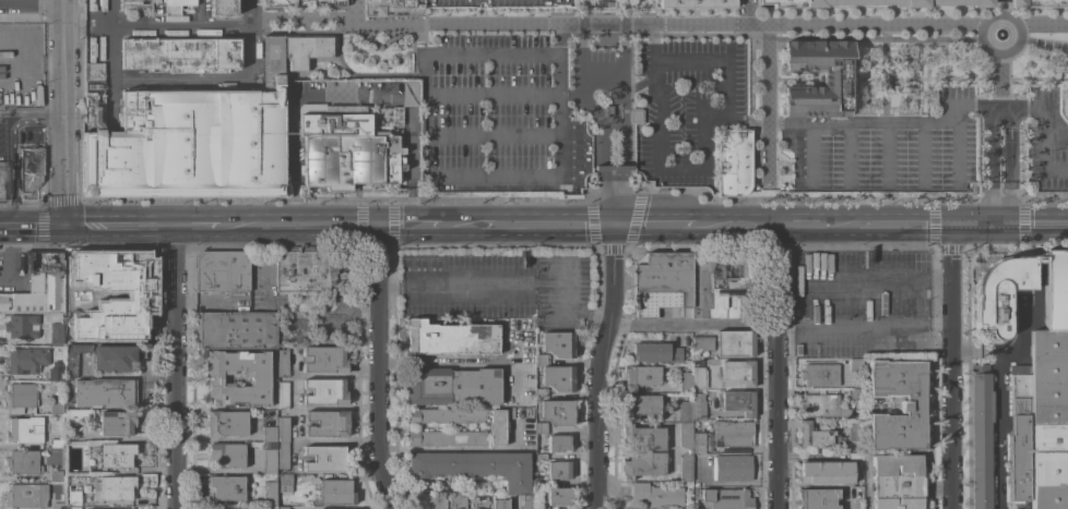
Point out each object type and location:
building: (695, 2)
building: (875, 2)
building: (1036, 2)
building: (304, 3)
building: (1001, 3)
road: (31, 4)
building: (144, 4)
building: (176, 5)
building: (223, 8)
building: (393, 8)
road: (1000, 8)
road: (357, 11)
road: (201, 13)
road: (746, 13)
road: (1043, 23)
road: (617, 24)
road: (182, 27)
road: (655, 32)
fountain: (1000, 35)
road: (252, 38)
road: (1045, 43)
road: (628, 44)
road: (1017, 48)
road: (585, 49)
building: (307, 51)
building: (134, 52)
building: (193, 53)
building: (273, 53)
road: (61, 54)
road: (511, 54)
parking lot: (602, 56)
road: (21, 61)
road: (112, 61)
road: (182, 77)
building: (835, 77)
building: (273, 81)
road: (1001, 81)
road: (641, 83)
building: (94, 92)
building: (410, 92)
road: (494, 94)
road: (563, 95)
road: (348, 96)
road: (577, 97)
parking lot: (690, 106)
road: (764, 106)
road: (999, 106)
building: (609, 109)
road: (31, 110)
building: (134, 110)
parking lot: (499, 114)
building: (637, 114)
road: (560, 116)
road: (769, 121)
road: (889, 122)
road: (1045, 122)
road: (811, 131)
building: (999, 131)
road: (427, 135)
road: (494, 136)
building: (1021, 136)
parking lot: (1045, 140)
building: (250, 142)
building: (182, 143)
building: (348, 145)
road: (956, 148)
road: (887, 149)
parking lot: (889, 149)
road: (923, 149)
road: (990, 155)
road: (1010, 155)
road: (622, 156)
road: (602, 160)
road: (707, 160)
building: (734, 161)
building: (115, 162)
road: (1045, 162)
building: (614, 167)
building: (31, 168)
road: (61, 168)
road: (494, 177)
building: (286, 178)
road: (413, 178)
building: (4, 180)
road: (357, 194)
road: (410, 210)
road: (292, 211)
road: (1000, 213)
road: (118, 225)
road: (201, 225)
road: (548, 225)
traffic signals: (613, 225)
road: (656, 225)
road: (737, 225)
road: (804, 225)
road: (891, 225)
road: (974, 225)
traffic signals: (1000, 225)
road: (1034, 225)
road: (31, 226)
traffic signals: (62, 226)
road: (301, 226)
traffic signals: (377, 226)
road: (408, 226)
road: (462, 226)
traffic signals: (949, 226)
road: (949, 251)
road: (614, 264)
building: (73, 267)
building: (223, 270)
building: (306, 274)
road: (874, 277)
road: (508, 281)
building: (662, 281)
building: (39, 284)
building: (700, 284)
building: (731, 286)
parking lot: (497, 287)
building: (1056, 289)
building: (1001, 291)
building: (142, 299)
fountain: (302, 300)
building: (108, 301)
parking lot: (859, 303)
building: (795, 312)
road: (692, 322)
road: (862, 324)
building: (23, 326)
building: (236, 329)
building: (57, 334)
building: (452, 338)
building: (702, 341)
building: (736, 342)
building: (559, 343)
road: (1010, 347)
building: (656, 351)
building: (74, 357)
building: (115, 357)
building: (26, 359)
building: (325, 359)
building: (543, 359)
building: (283, 362)
road: (459, 363)
building: (856, 364)
road: (174, 366)
road: (775, 366)
road: (378, 367)
building: (56, 371)
building: (739, 371)
building: (699, 373)
building: (820, 374)
building: (1047, 375)
building: (640, 376)
building: (260, 377)
building: (559, 377)
building: (686, 381)
building: (453, 385)
building: (325, 390)
building: (105, 391)
building: (542, 392)
road: (950, 392)
building: (856, 393)
building: (283, 395)
building: (21, 397)
building: (738, 401)
road: (595, 404)
building: (642, 404)
building: (822, 404)
building: (913, 405)
building: (57, 408)
building: (698, 409)
building: (557, 411)
building: (686, 411)
building: (511, 412)
building: (80, 414)
building: (446, 414)
building: (117, 422)
building: (328, 422)
building: (227, 423)
building: (498, 426)
building: (542, 427)
road: (1001, 427)
building: (283, 428)
building: (855, 429)
building: (26, 431)
building: (270, 433)
building: (1019, 434)
building: (686, 435)
building: (734, 435)
building: (643, 436)
building: (817, 436)
building: (446, 437)
building: (981, 438)
building: (699, 441)
building: (55, 443)
building: (560, 443)
road: (461, 447)
building: (116, 455)
building: (227, 455)
building: (283, 455)
building: (542, 456)
building: (271, 457)
building: (325, 458)
building: (23, 462)
building: (644, 464)
building: (475, 465)
building: (686, 466)
building: (1048, 466)
building: (733, 468)
building: (559, 469)
building: (826, 471)
building: (56, 475)
building: (285, 482)
building: (542, 482)
building: (897, 482)
building: (227, 486)
building: (114, 487)
building: (336, 490)
building: (270, 493)
building: (26, 495)
building: (657, 495)
building: (559, 496)
building: (74, 497)
building: (727, 498)
building: (819, 498)
building: (529, 501)
building: (436, 502)
building: (458, 502)
building: (479, 502)
building: (500, 504)
building: (1019, 504)
road: (513, 505)
building: (58, 506)
building: (543, 506)
building: (73, 507)
building: (270, 507)
building: (283, 507)
building: (697, 507)
building: (109, 508)
building: (223, 508)

